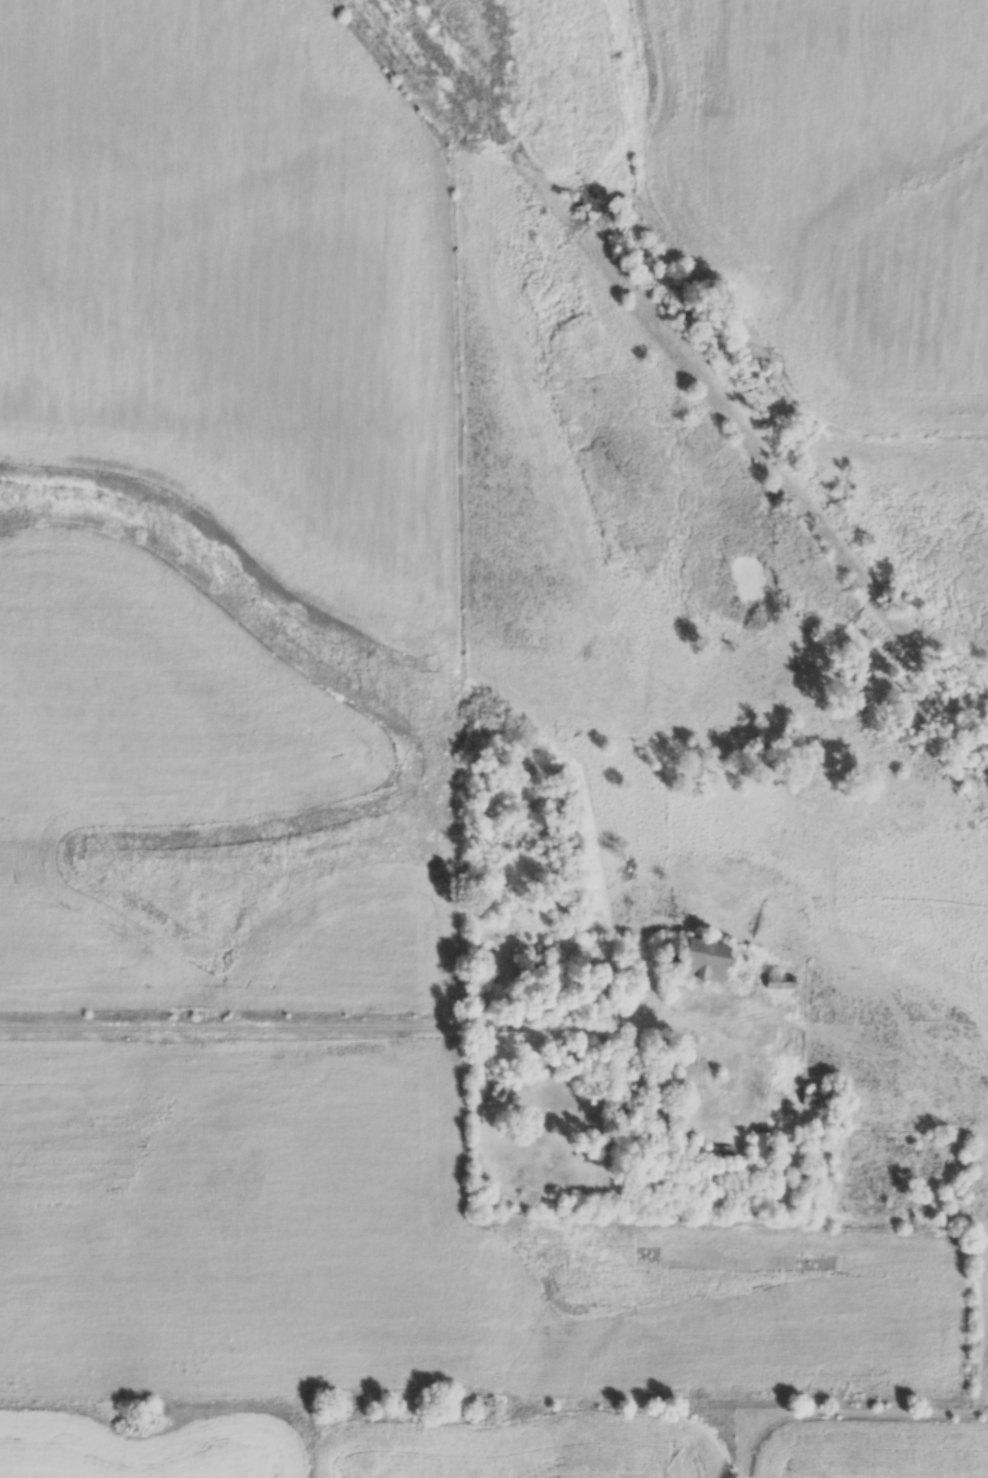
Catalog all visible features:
road: (343, 1015)
road: (779, 1021)
building: (635, 1080)

